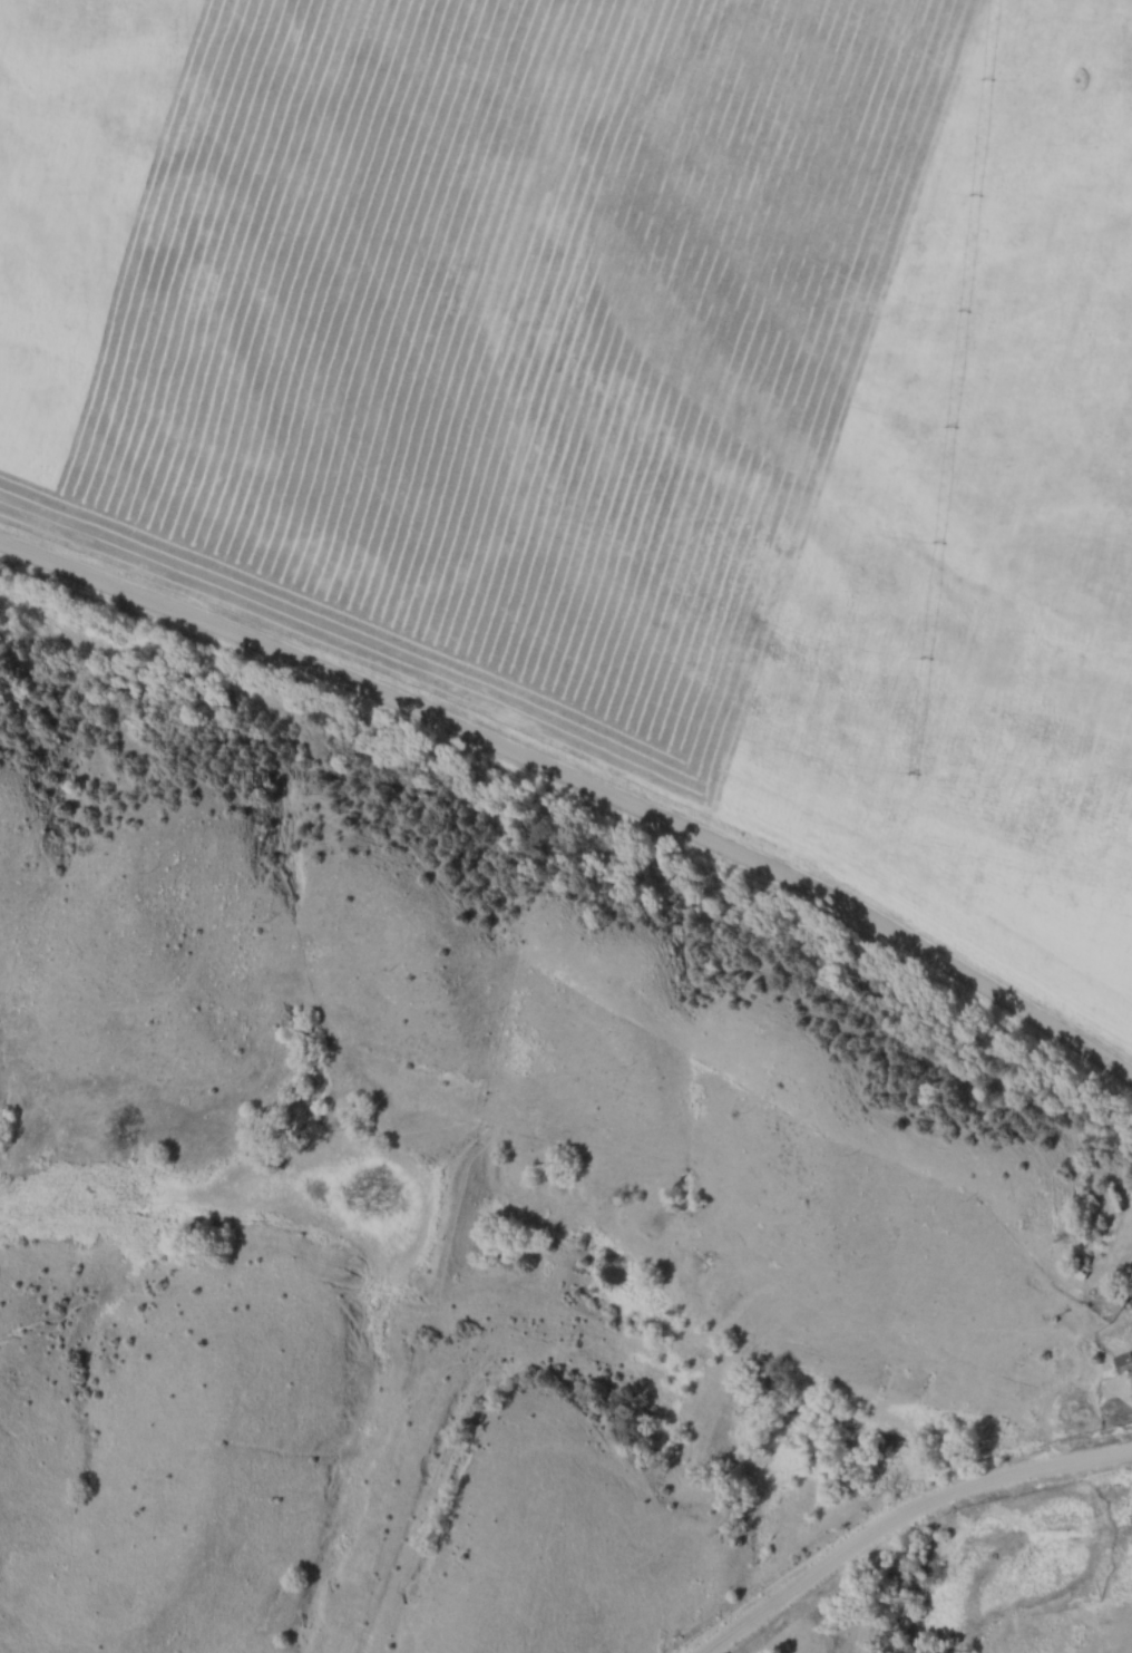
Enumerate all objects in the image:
road: (578, 785)
building: (1118, 1200)
building: (1125, 1362)
road: (902, 1517)

